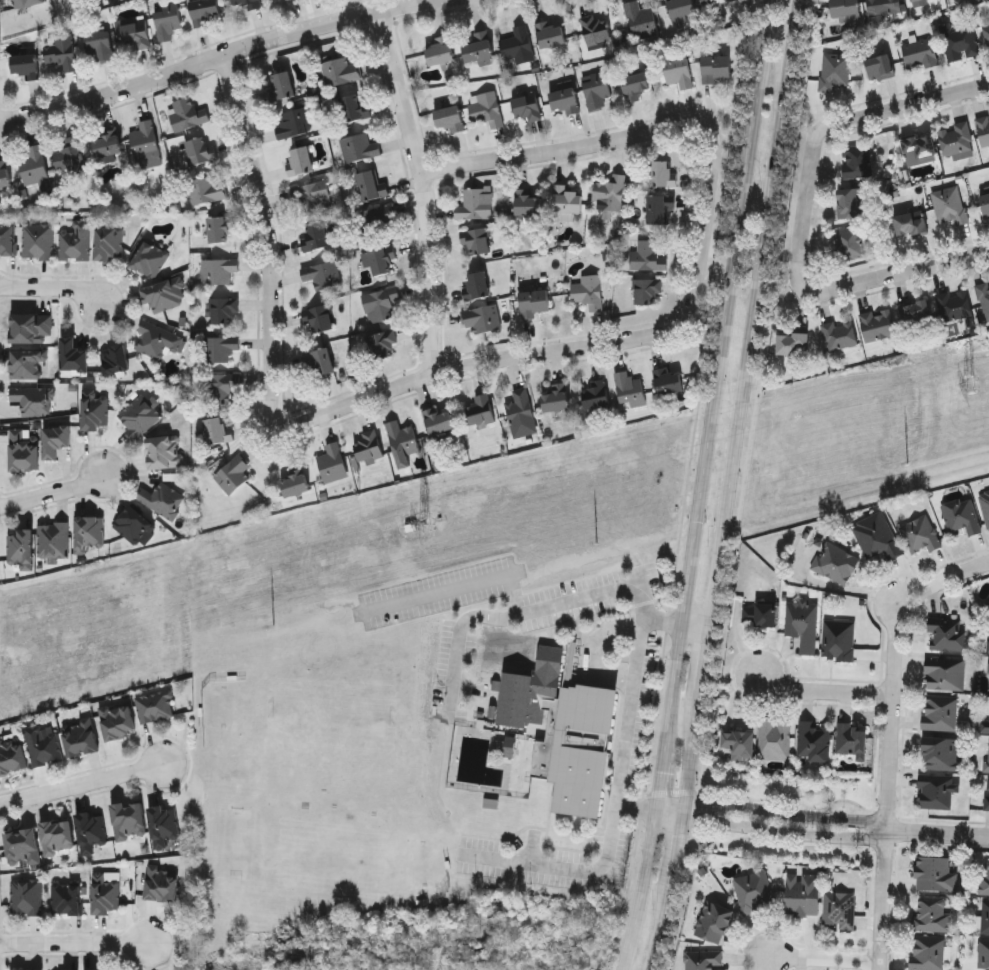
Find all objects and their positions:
building: (287, 0)
building: (288, 0)
building: (914, 0)
building: (26, 2)
building: (715, 2)
building: (249, 3)
building: (883, 6)
building: (844, 7)
building: (682, 9)
building: (205, 10)
building: (641, 17)
building: (167, 18)
road: (799, 21)
building: (598, 27)
building: (986, 31)
building: (137, 32)
building: (552, 33)
building: (959, 42)
building: (100, 43)
building: (520, 43)
building: (480, 47)
building: (63, 50)
building: (442, 50)
road: (222, 53)
building: (920, 54)
building: (26, 64)
building: (717, 66)
building: (879, 66)
building: (680, 69)
building: (341, 70)
building: (833, 70)
building: (284, 83)
building: (636, 84)
building: (597, 88)
building: (566, 99)
building: (529, 106)
building: (353, 107)
building: (487, 107)
building: (189, 112)
building: (451, 117)
building: (293, 123)
building: (983, 129)
road: (663, 130)
road: (821, 134)
building: (956, 138)
building: (146, 139)
building: (109, 145)
building: (360, 145)
building: (919, 148)
building: (201, 150)
building: (70, 154)
building: (302, 159)
building: (857, 161)
building: (35, 165)
building: (662, 172)
building: (5, 173)
building: (370, 184)
building: (208, 189)
road: (427, 190)
building: (612, 192)
building: (314, 196)
building: (568, 198)
building: (529, 202)
building: (476, 203)
building: (849, 203)
building: (985, 203)
building: (949, 204)
building: (660, 209)
building: (380, 217)
building: (910, 223)
building: (219, 228)
building: (317, 234)
building: (8, 237)
building: (477, 239)
building: (39, 240)
building: (75, 241)
building: (110, 242)
building: (851, 242)
road: (268, 248)
building: (648, 255)
building: (151, 258)
building: (379, 259)
building: (219, 269)
road: (910, 270)
building: (323, 274)
building: (478, 284)
building: (648, 289)
road: (51, 290)
building: (589, 291)
building: (166, 293)
building: (983, 299)
building: (536, 301)
building: (381, 302)
building: (953, 304)
building: (224, 308)
building: (916, 311)
building: (321, 317)
building: (483, 317)
building: (878, 324)
building: (32, 327)
road: (762, 333)
building: (839, 334)
building: (159, 338)
building: (382, 342)
building: (792, 342)
building: (223, 348)
building: (75, 354)
building: (116, 359)
road: (493, 359)
building: (324, 360)
building: (28, 362)
road: (711, 379)
building: (670, 380)
power tower: (970, 385)
building: (219, 387)
building: (632, 388)
building: (597, 396)
building: (558, 397)
building: (34, 399)
building: (96, 408)
building: (482, 408)
building: (522, 408)
building: (140, 414)
building: (441, 420)
building: (218, 428)
building: (57, 439)
building: (403, 441)
building: (369, 445)
building: (25, 449)
building: (166, 450)
building: (334, 462)
building: (233, 473)
building: (296, 482)
road: (56, 494)
building: (163, 498)
building: (984, 506)
building: (960, 517)
power tower: (425, 523)
building: (135, 524)
building: (89, 531)
building: (920, 534)
building: (876, 536)
building: (55, 539)
building: (22, 547)
building: (835, 562)
road: (941, 579)
road: (455, 586)
road: (524, 612)
building: (759, 613)
building: (802, 623)
building: (947, 635)
building: (988, 638)
building: (838, 639)
road: (589, 653)
road: (721, 657)
building: (944, 673)
road: (635, 674)
building: (988, 675)
road: (822, 688)
building: (155, 705)
building: (939, 711)
building: (118, 720)
building: (565, 726)
building: (985, 726)
building: (80, 737)
building: (851, 738)
building: (774, 739)
building: (813, 740)
building: (739, 743)
building: (44, 744)
building: (506, 747)
road: (712, 747)
building: (941, 752)
building: (12, 754)
building: (987, 755)
road: (663, 779)
road: (80, 787)
road: (888, 789)
building: (935, 790)
building: (986, 794)
road: (645, 800)
road: (681, 801)
road: (658, 806)
road: (644, 809)
road: (702, 813)
road: (791, 813)
road: (679, 818)
building: (129, 819)
building: (164, 825)
road: (789, 829)
building: (91, 830)
road: (933, 834)
building: (58, 836)
building: (23, 848)
road: (694, 849)
road: (566, 870)
building: (934, 873)
building: (984, 878)
building: (162, 883)
building: (752, 890)
road: (641, 892)
building: (801, 894)
building: (27, 896)
building: (107, 896)
building: (67, 898)
building: (838, 909)
building: (930, 914)
building: (985, 917)
building: (713, 921)
road: (679, 924)
road: (74, 942)
building: (927, 953)
building: (983, 953)
building: (704, 960)
road: (824, 960)
building: (71, 969)
building: (100, 969)

